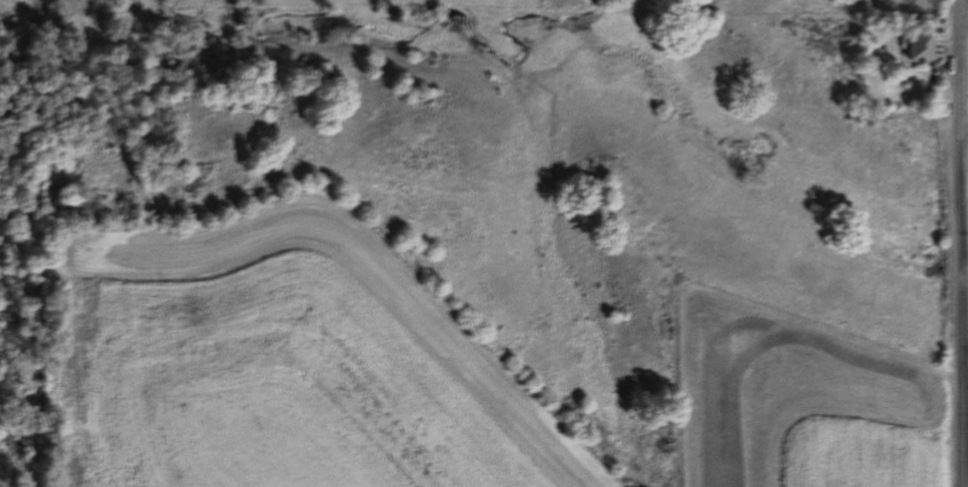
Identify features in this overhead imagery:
building: (922, 48)
road: (959, 243)

